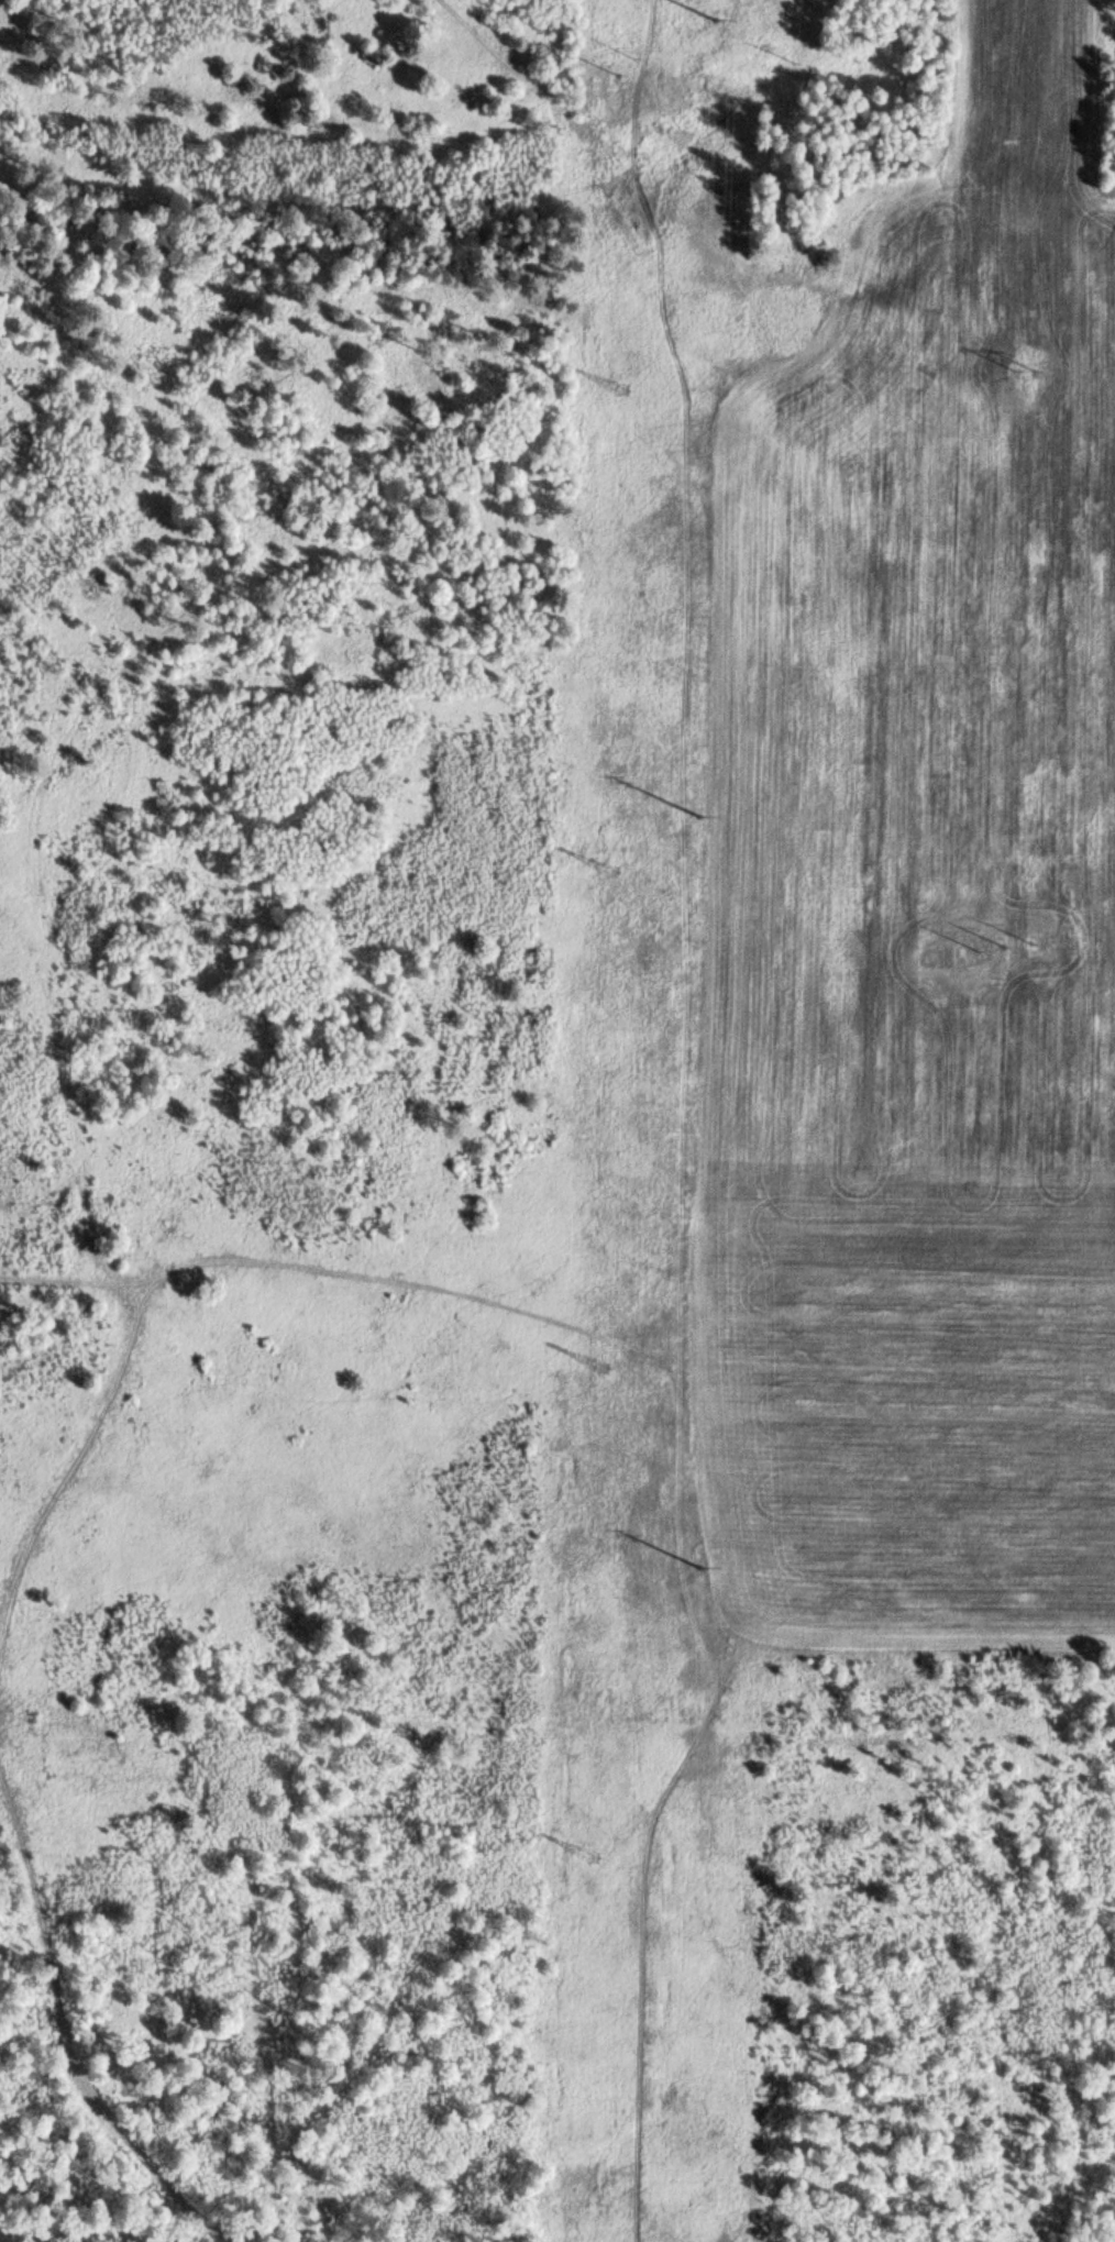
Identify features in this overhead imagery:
power tower: (740, 30)
power tower: (642, 58)
power tower: (807, 64)
power tower: (1022, 376)
power tower: (621, 391)
power tower: (719, 817)
power tower: (614, 870)
power tower: (1009, 951)
power tower: (604, 1368)
power tower: (720, 1579)
power tower: (595, 1857)

